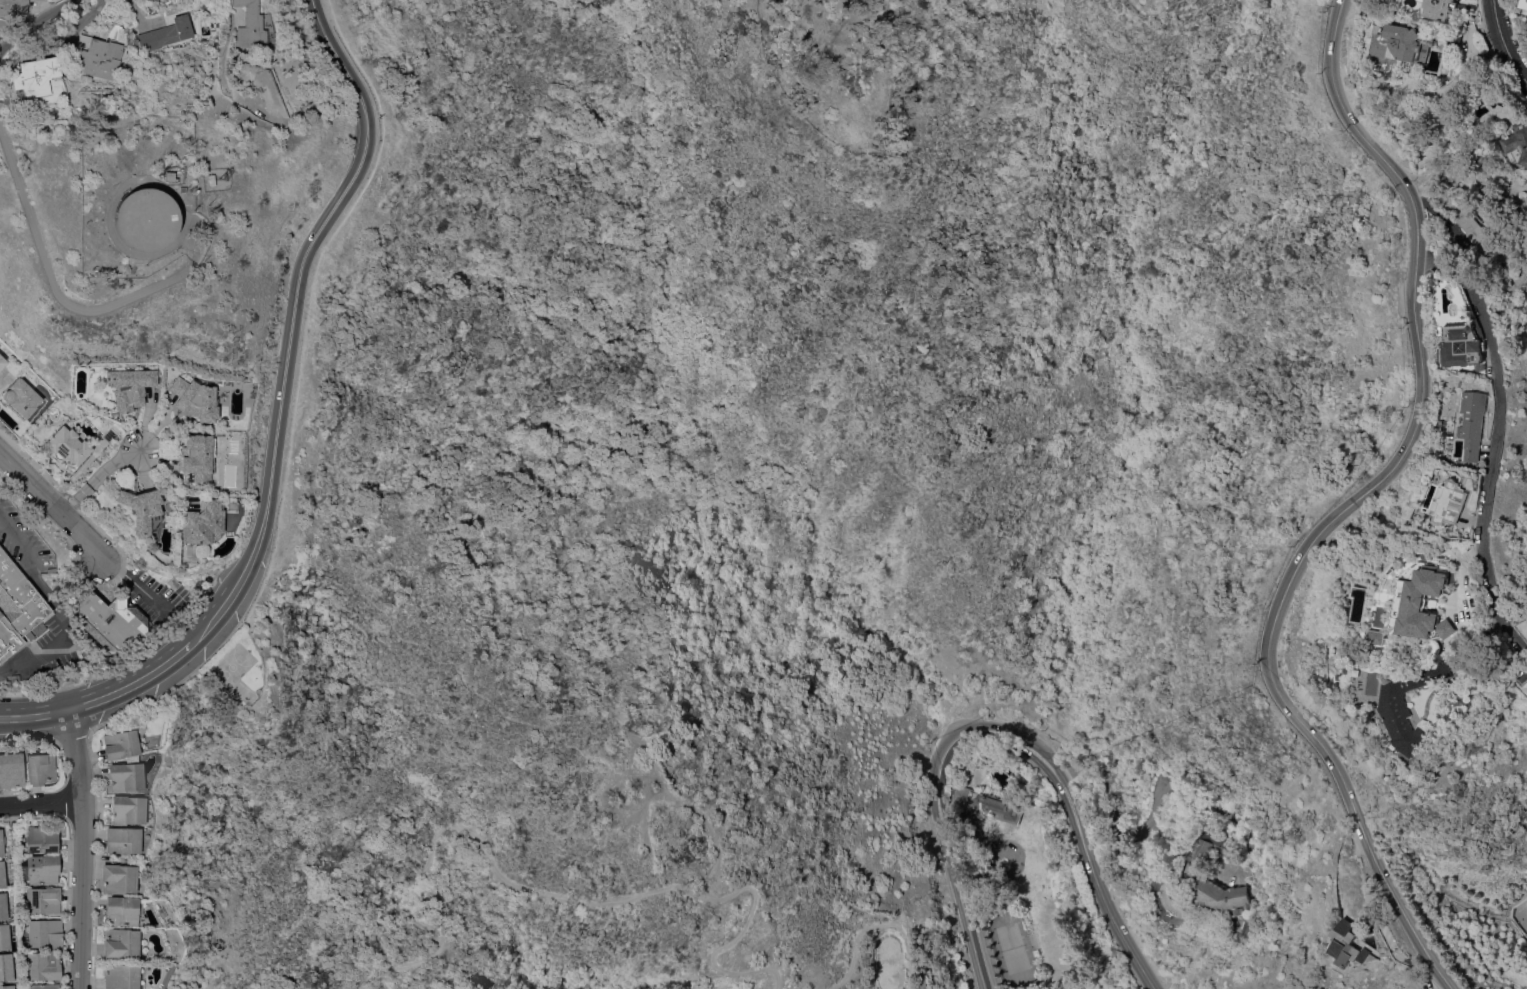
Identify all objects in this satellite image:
building: (1523, 4)
building: (13, 7)
building: (1443, 8)
road: (31, 22)
building: (252, 26)
building: (163, 34)
road: (222, 37)
road: (1507, 40)
building: (1458, 41)
building: (1406, 44)
building: (95, 56)
building: (35, 76)
building: (259, 86)
building: (1519, 142)
building: (165, 176)
building: (139, 219)
building: (1482, 239)
road: (298, 287)
road: (63, 301)
building: (1469, 346)
building: (2, 361)
building: (130, 386)
building: (0, 387)
building: (22, 397)
building: (195, 399)
road: (1507, 404)
building: (1481, 423)
building: (68, 446)
building: (196, 457)
road: (102, 469)
road: (55, 503)
building: (1459, 503)
road: (1358, 504)
building: (141, 508)
building: (200, 522)
road: (135, 581)
road: (44, 591)
building: (1434, 605)
building: (18, 607)
road: (1513, 615)
road: (210, 620)
building: (109, 621)
building: (1393, 637)
road: (174, 659)
road: (447, 661)
road: (27, 662)
building: (15, 677)
road: (115, 696)
building: (1423, 705)
road: (34, 715)
road: (1001, 731)
building: (119, 744)
building: (40, 768)
building: (11, 769)
building: (124, 775)
road: (615, 775)
building: (988, 804)
road: (39, 807)
building: (126, 809)
road: (642, 811)
road: (1150, 811)
road: (707, 817)
building: (40, 839)
building: (121, 839)
building: (1, 843)
road: (77, 851)
building: (1199, 868)
building: (38, 869)
building: (2, 874)
building: (117, 878)
road: (542, 891)
building: (41, 900)
building: (6, 904)
building: (120, 910)
building: (1241, 911)
road: (877, 925)
building: (43, 933)
building: (4, 936)
building: (119, 942)
building: (1360, 945)
building: (41, 965)
building: (6, 966)
building: (118, 976)
building: (923, 982)
building: (6, 986)
building: (42, 986)

